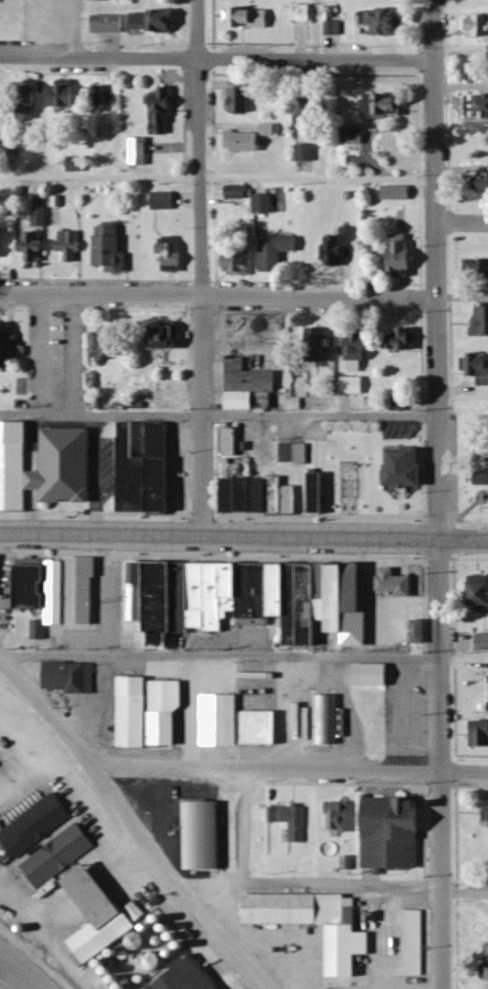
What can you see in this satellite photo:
building: (303, 14)
building: (248, 19)
building: (154, 22)
building: (388, 23)
building: (109, 25)
building: (478, 27)
road: (75, 28)
building: (334, 28)
road: (315, 30)
road: (215, 61)
building: (244, 84)
building: (66, 95)
building: (241, 101)
building: (32, 106)
building: (384, 107)
building: (479, 107)
building: (163, 110)
building: (309, 115)
building: (251, 139)
building: (141, 152)
building: (307, 153)
building: (78, 165)
road: (216, 177)
building: (486, 183)
building: (238, 192)
building: (402, 194)
building: (165, 202)
building: (265, 205)
building: (41, 218)
road: (461, 223)
building: (1, 242)
building: (71, 246)
building: (111, 247)
building: (339, 247)
building: (34, 248)
building: (277, 253)
building: (173, 255)
building: (405, 256)
building: (239, 262)
road: (200, 269)
road: (435, 270)
building: (477, 270)
road: (218, 296)
building: (483, 323)
building: (169, 337)
building: (405, 338)
building: (112, 342)
building: (9, 344)
building: (322, 345)
building: (358, 351)
building: (477, 367)
building: (250, 385)
building: (304, 385)
building: (355, 385)
road: (218, 417)
building: (231, 442)
building: (296, 453)
park: (472, 460)
building: (14, 464)
building: (67, 466)
building: (404, 468)
building: (147, 470)
building: (317, 493)
building: (233, 494)
building: (269, 495)
road: (243, 539)
building: (397, 583)
building: (60, 589)
building: (480, 594)
building: (250, 598)
building: (39, 630)
building: (420, 632)
building: (483, 642)
road: (243, 657)
road: (0, 665)
building: (372, 675)
building: (72, 677)
building: (168, 711)
building: (136, 712)
building: (326, 719)
building: (222, 720)
building: (298, 720)
building: (263, 728)
building: (480, 734)
road: (437, 765)
road: (260, 770)
road: (40, 772)
road: (462, 774)
building: (340, 817)
building: (291, 821)
building: (36, 826)
building: (1, 827)
road: (246, 828)
road: (131, 829)
building: (393, 834)
building: (60, 856)
road: (308, 885)
road: (464, 894)
building: (102, 914)
building: (318, 923)
road: (47, 938)
building: (416, 943)

